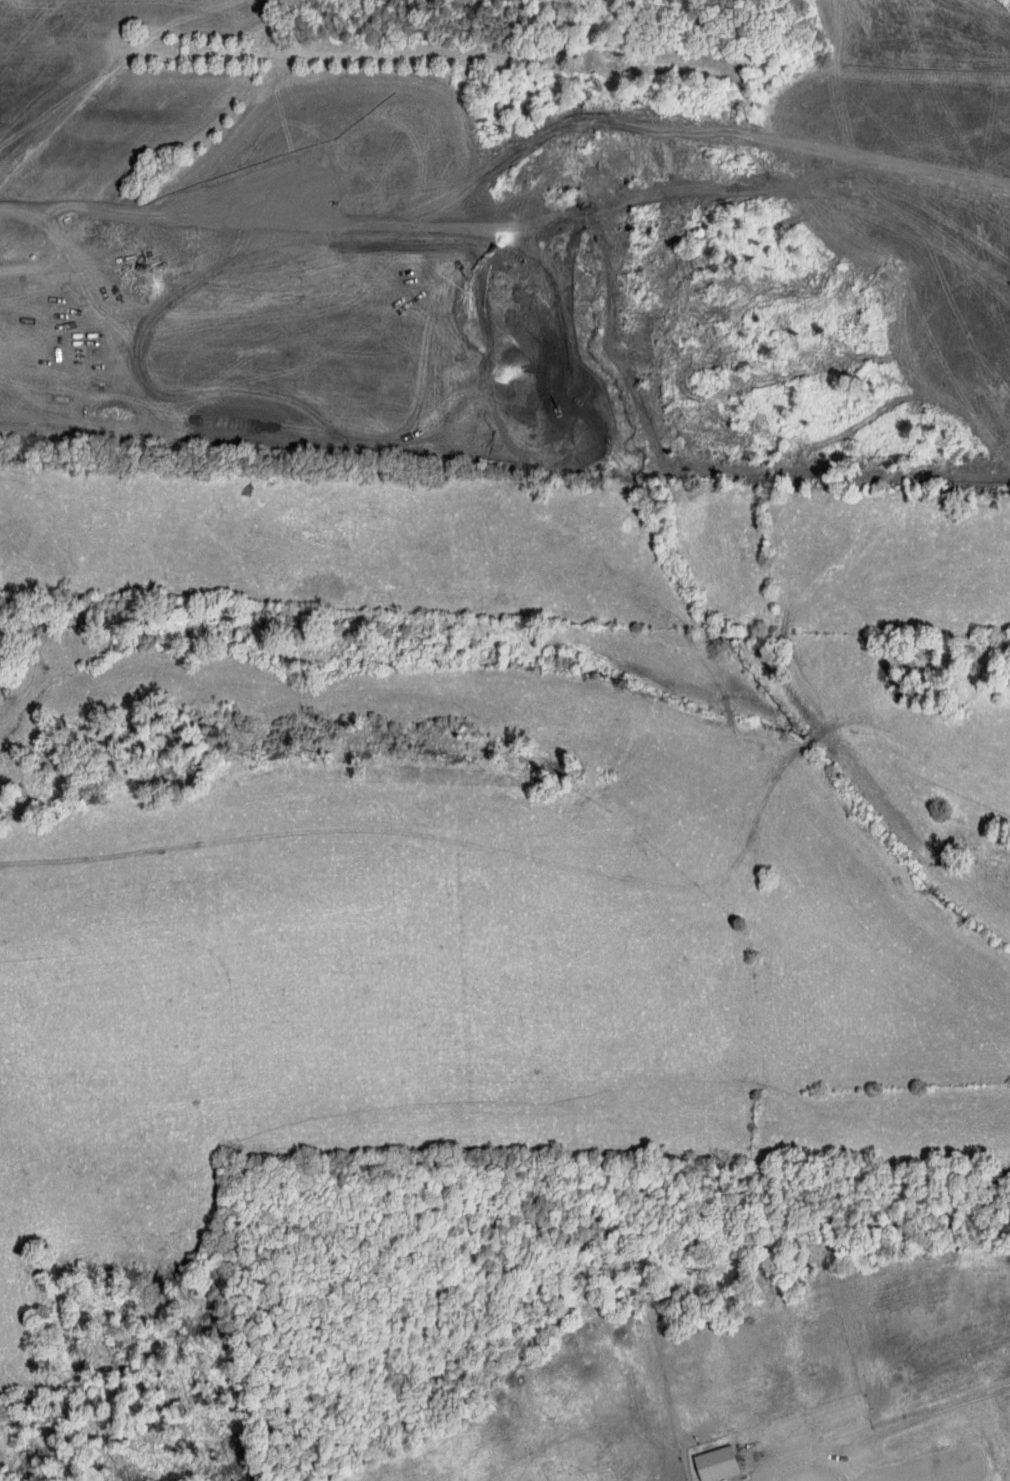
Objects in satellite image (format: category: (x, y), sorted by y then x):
building: (714, 1463)

